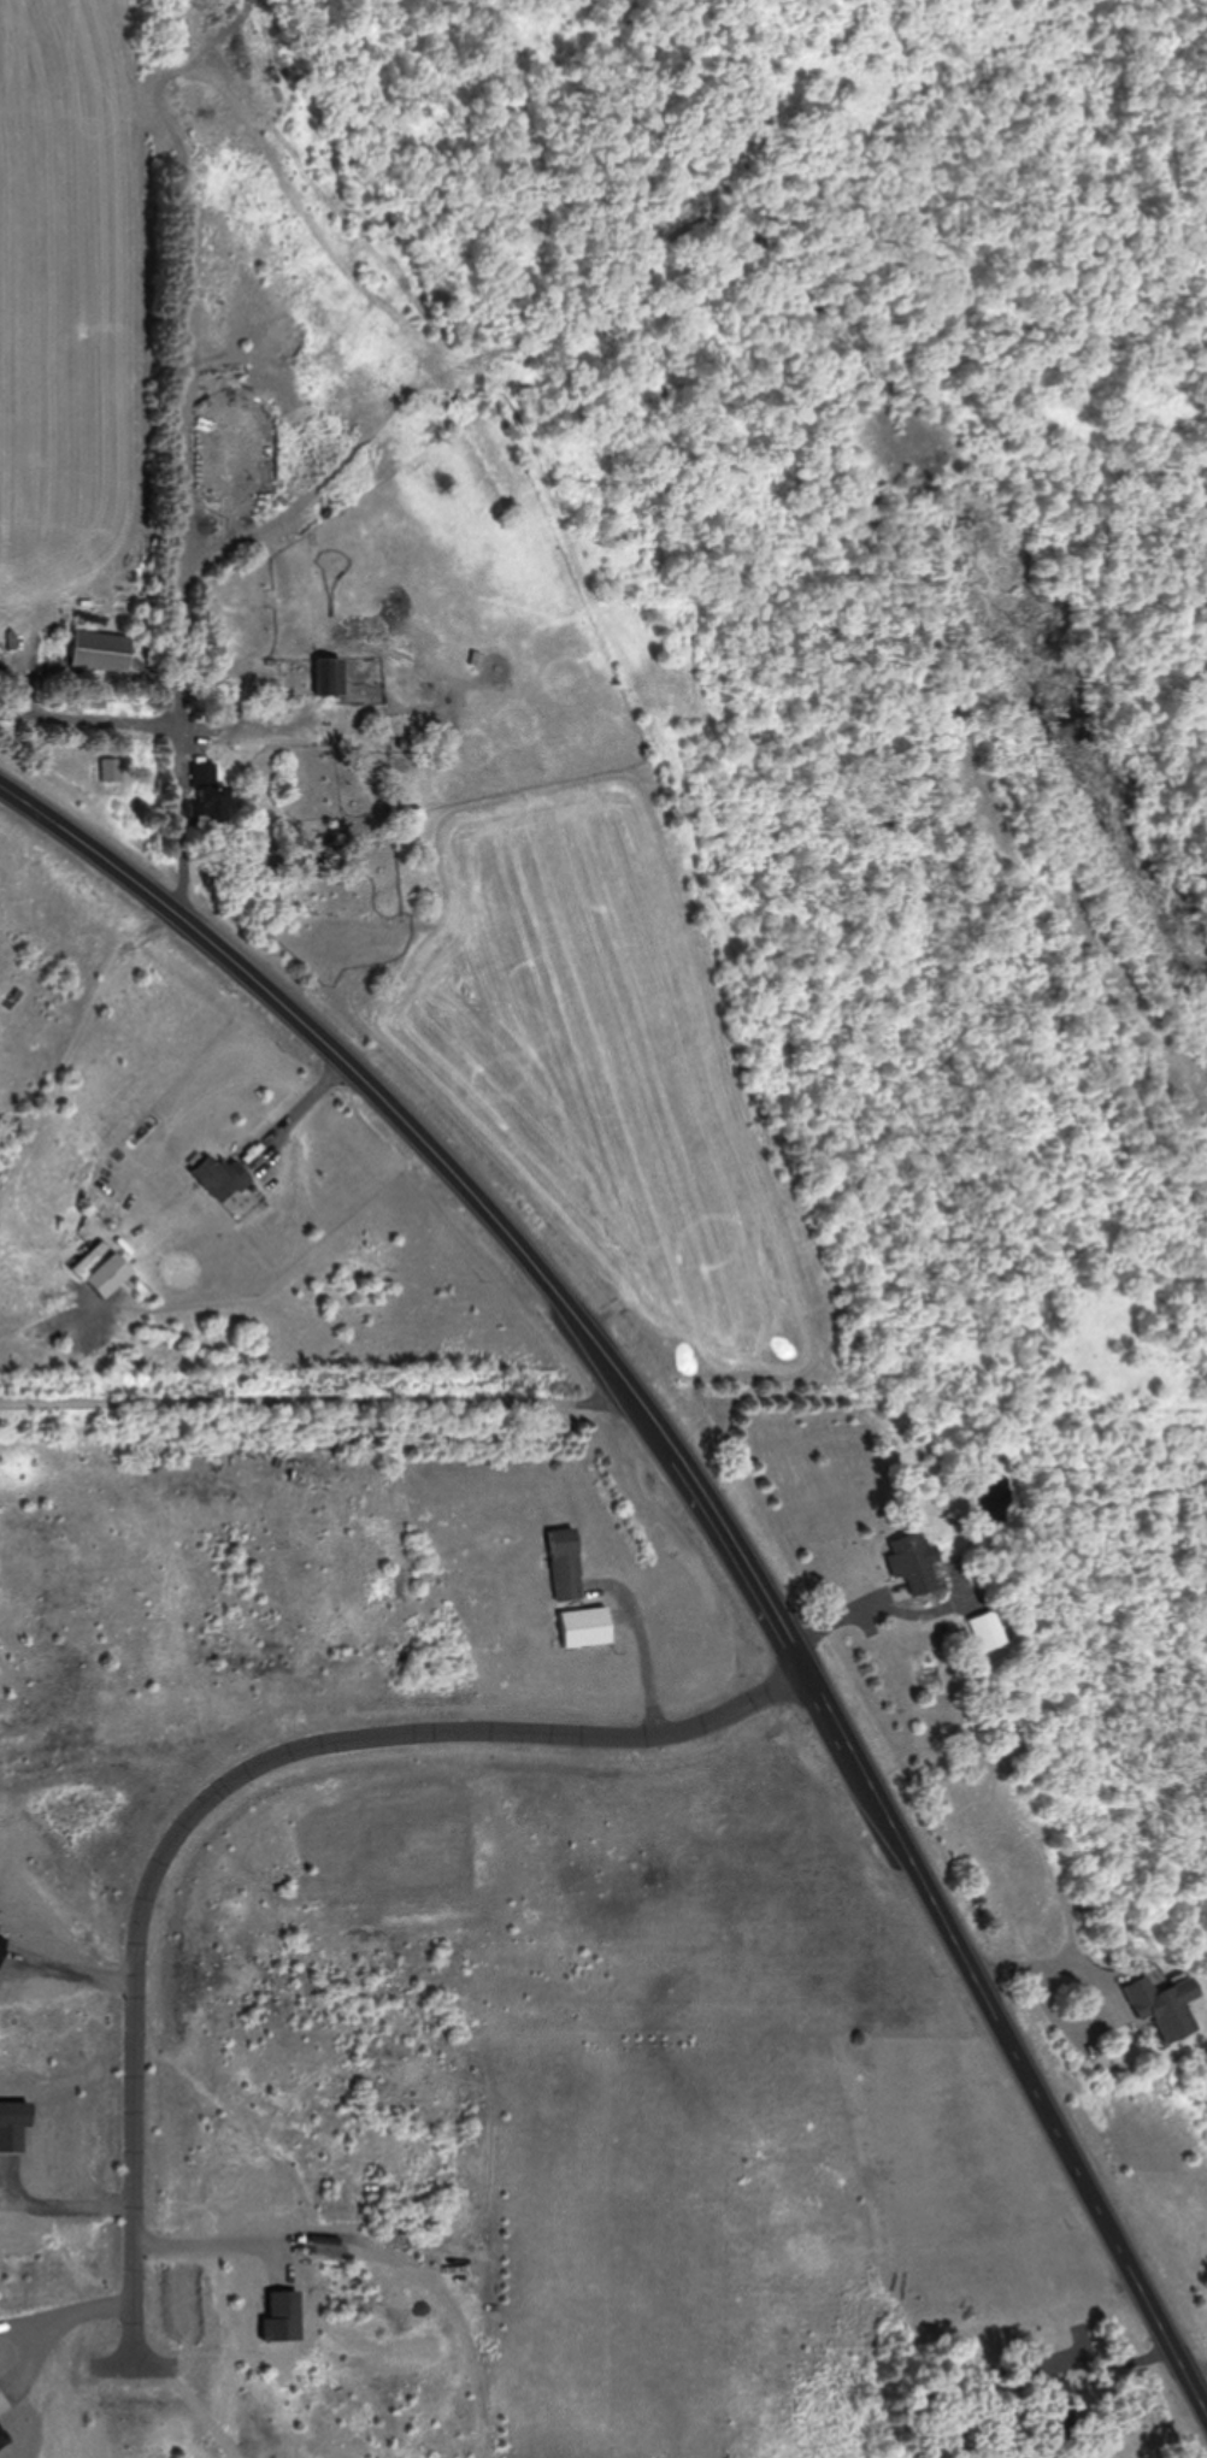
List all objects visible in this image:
road: (579, 318)
park: (1097, 468)
building: (101, 652)
building: (329, 678)
building: (208, 800)
building: (220, 1180)
building: (110, 1278)
road: (317, 1393)
road: (708, 1515)
building: (915, 1563)
building: (566, 1566)
building: (585, 1628)
building: (988, 1632)
road: (219, 1769)
building: (1167, 2008)

